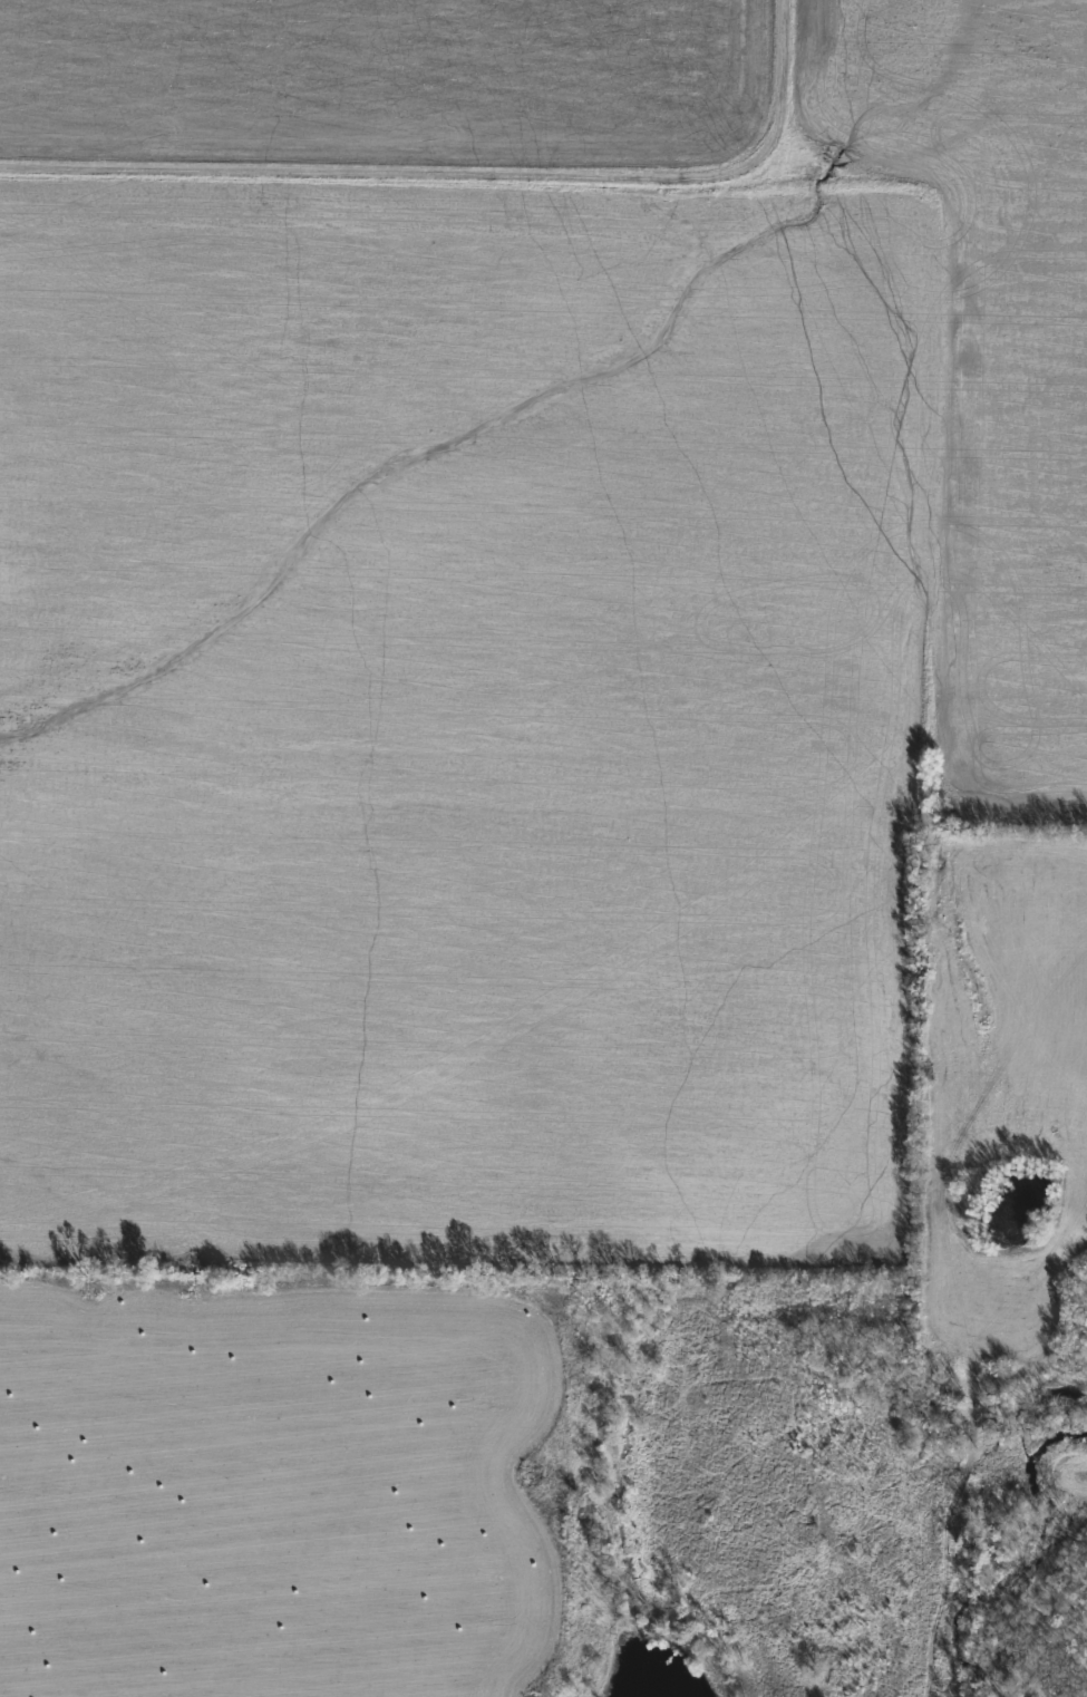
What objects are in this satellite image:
road: (467, 174)

